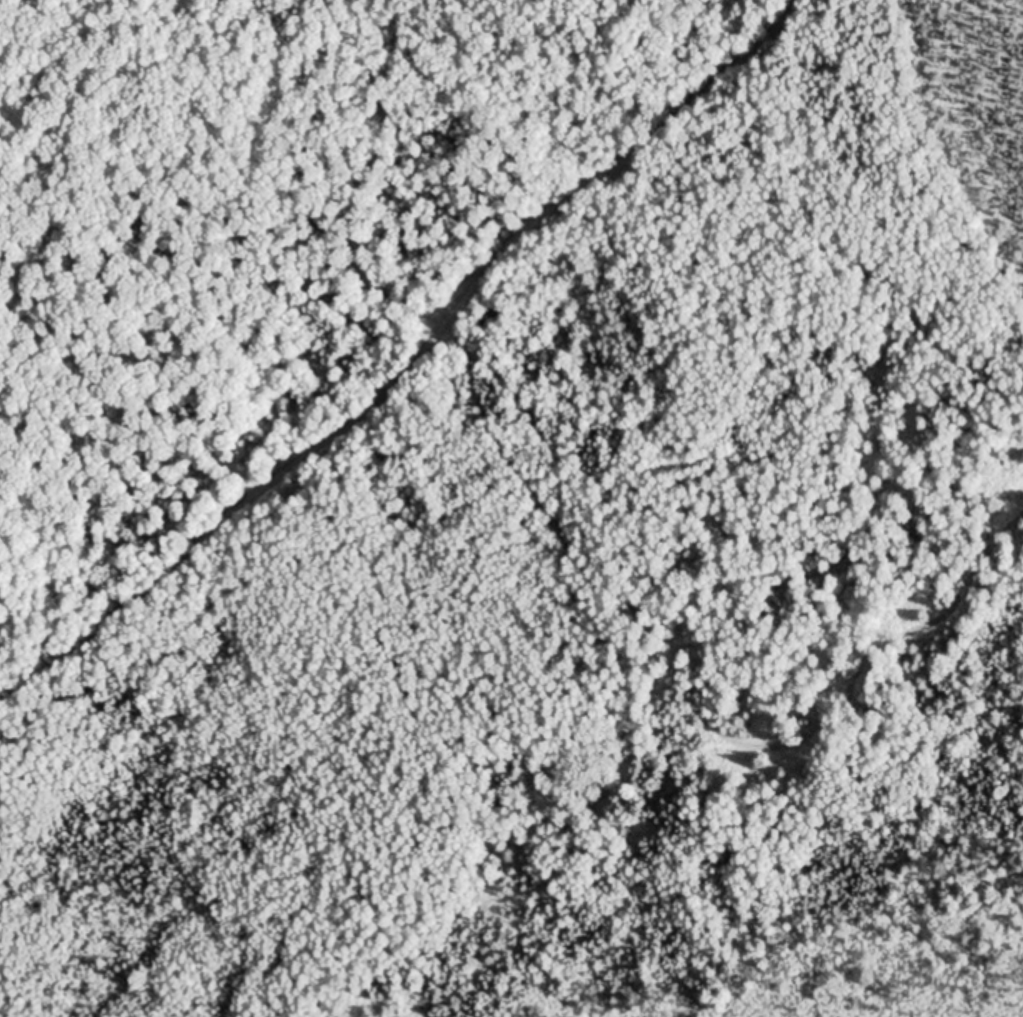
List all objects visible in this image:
road: (410, 368)

